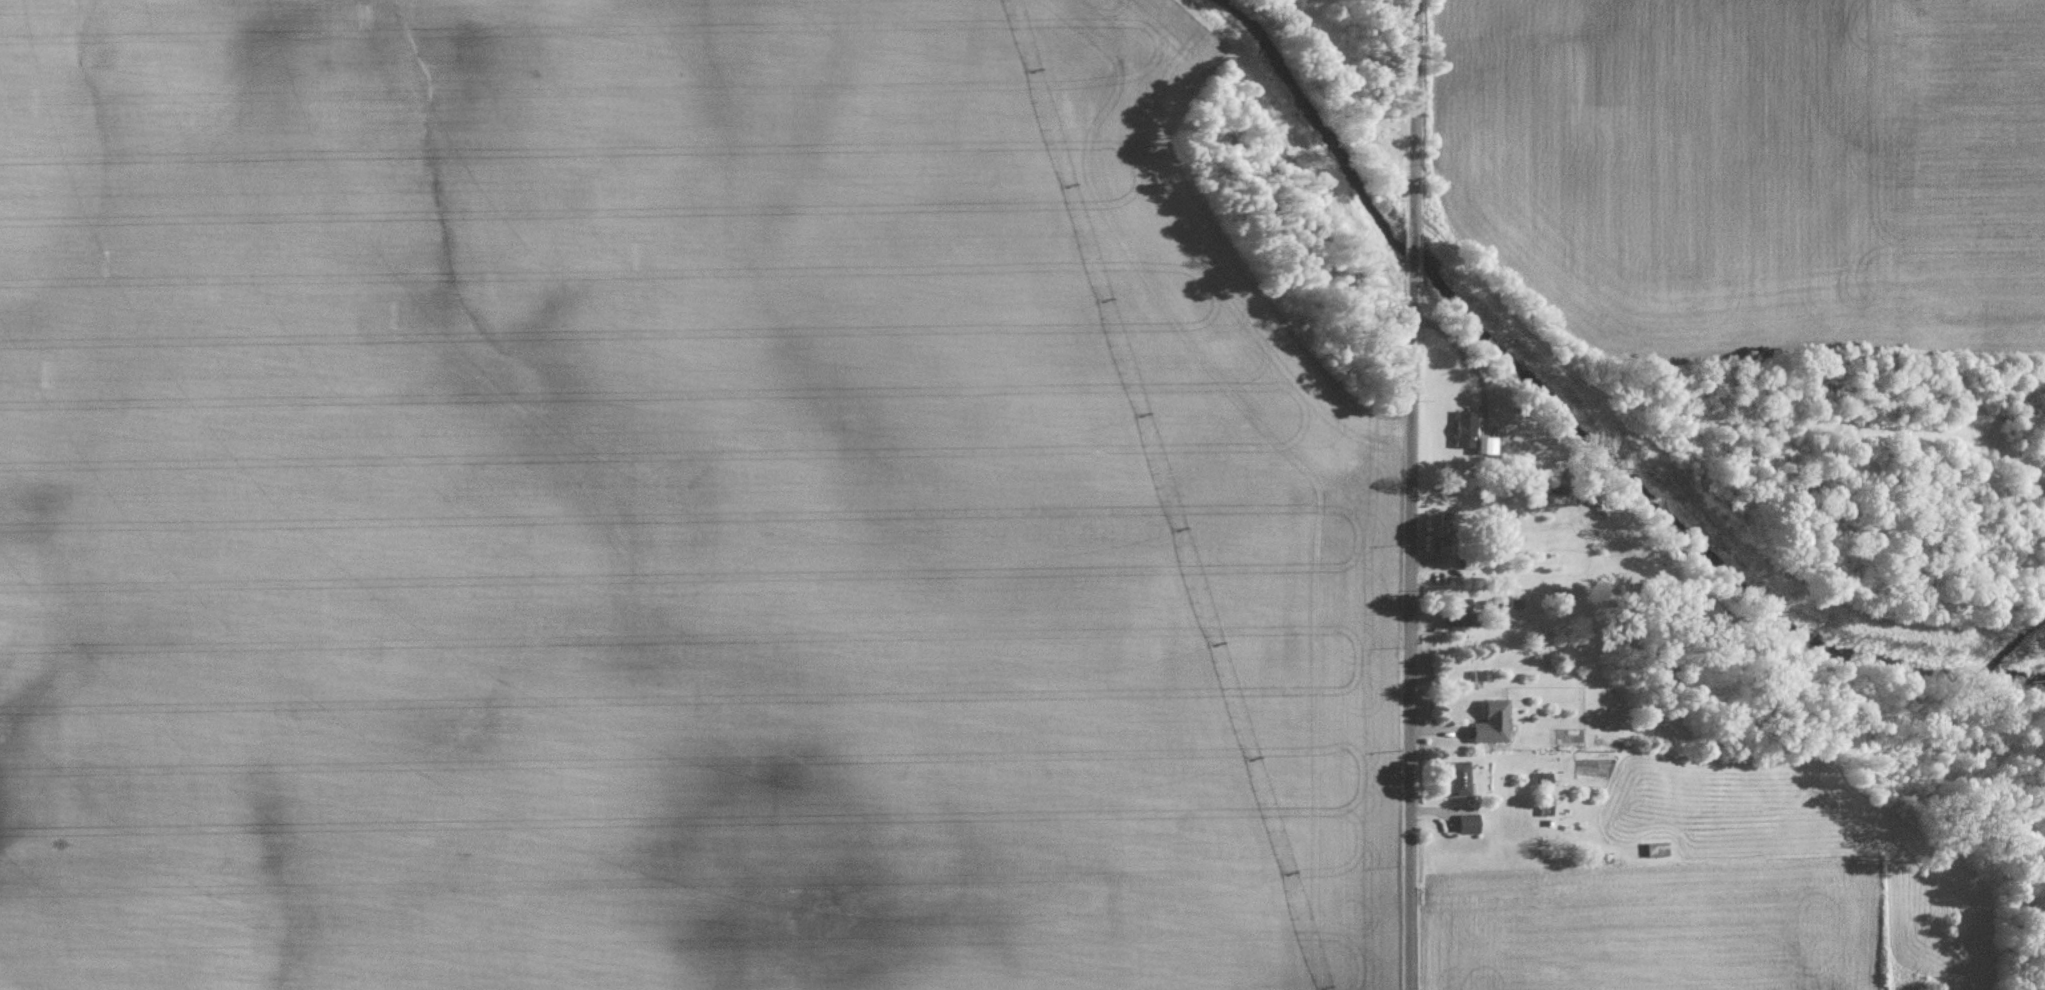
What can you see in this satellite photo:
building: (1471, 434)
road: (1407, 494)
building: (1457, 607)
building: (1487, 720)
building: (1456, 777)
building: (1464, 823)

